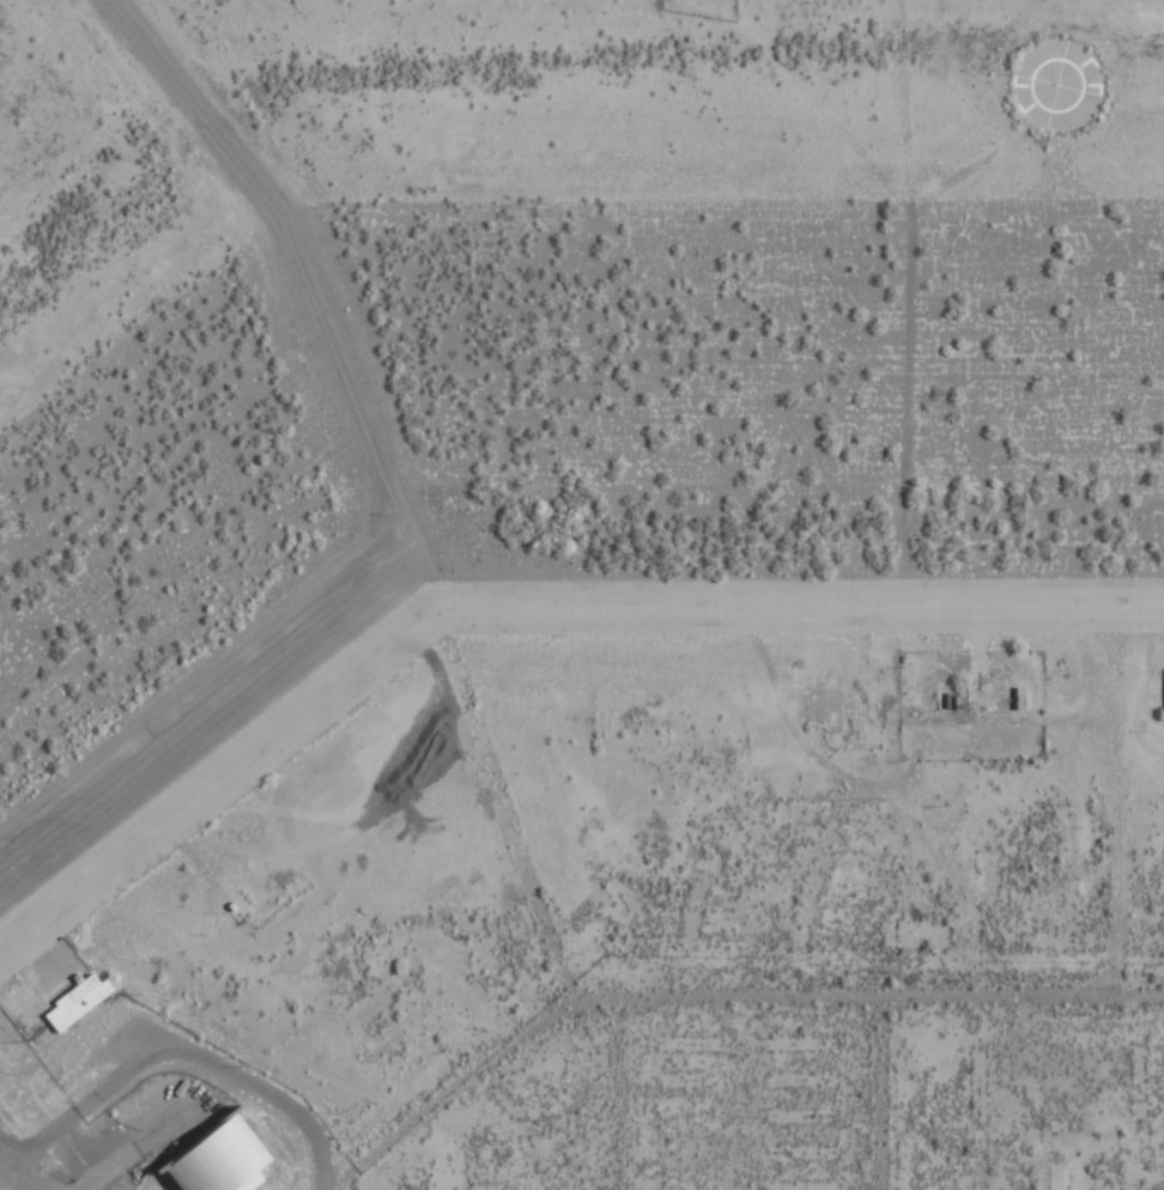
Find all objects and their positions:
airport taxiway: (305, 286)
airport taxiway: (522, 612)
building: (80, 1001)
building: (226, 1158)

